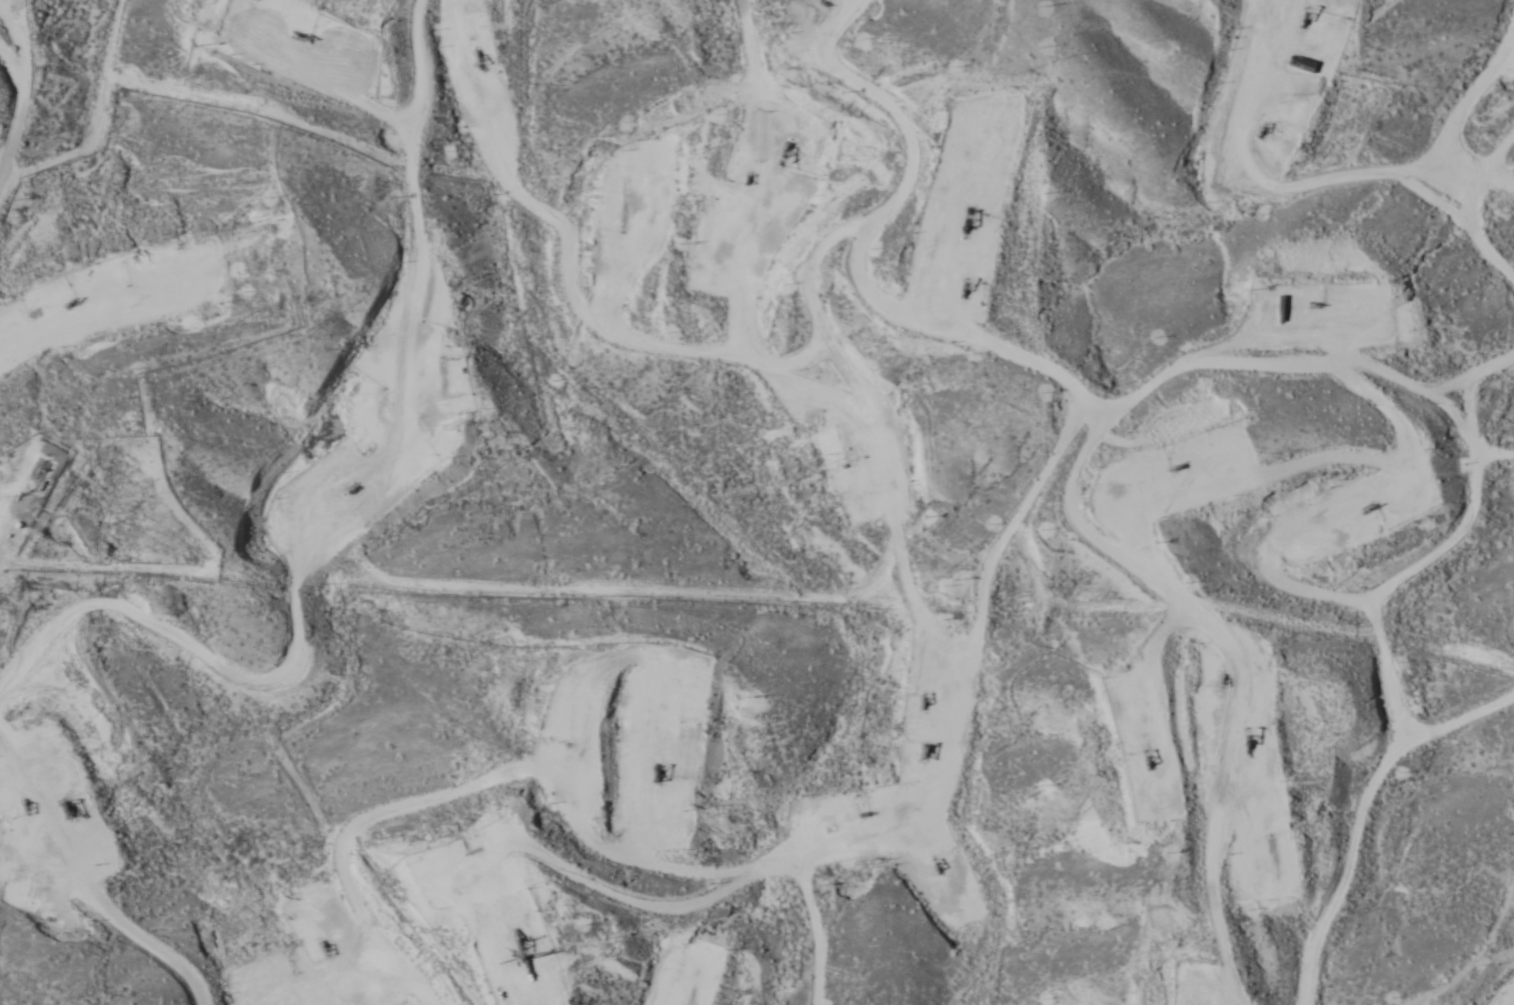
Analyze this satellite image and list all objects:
road: (1447, 122)
road: (1374, 178)
road: (862, 445)
road: (368, 632)
road: (1365, 738)
road: (157, 853)
road: (1467, 945)

